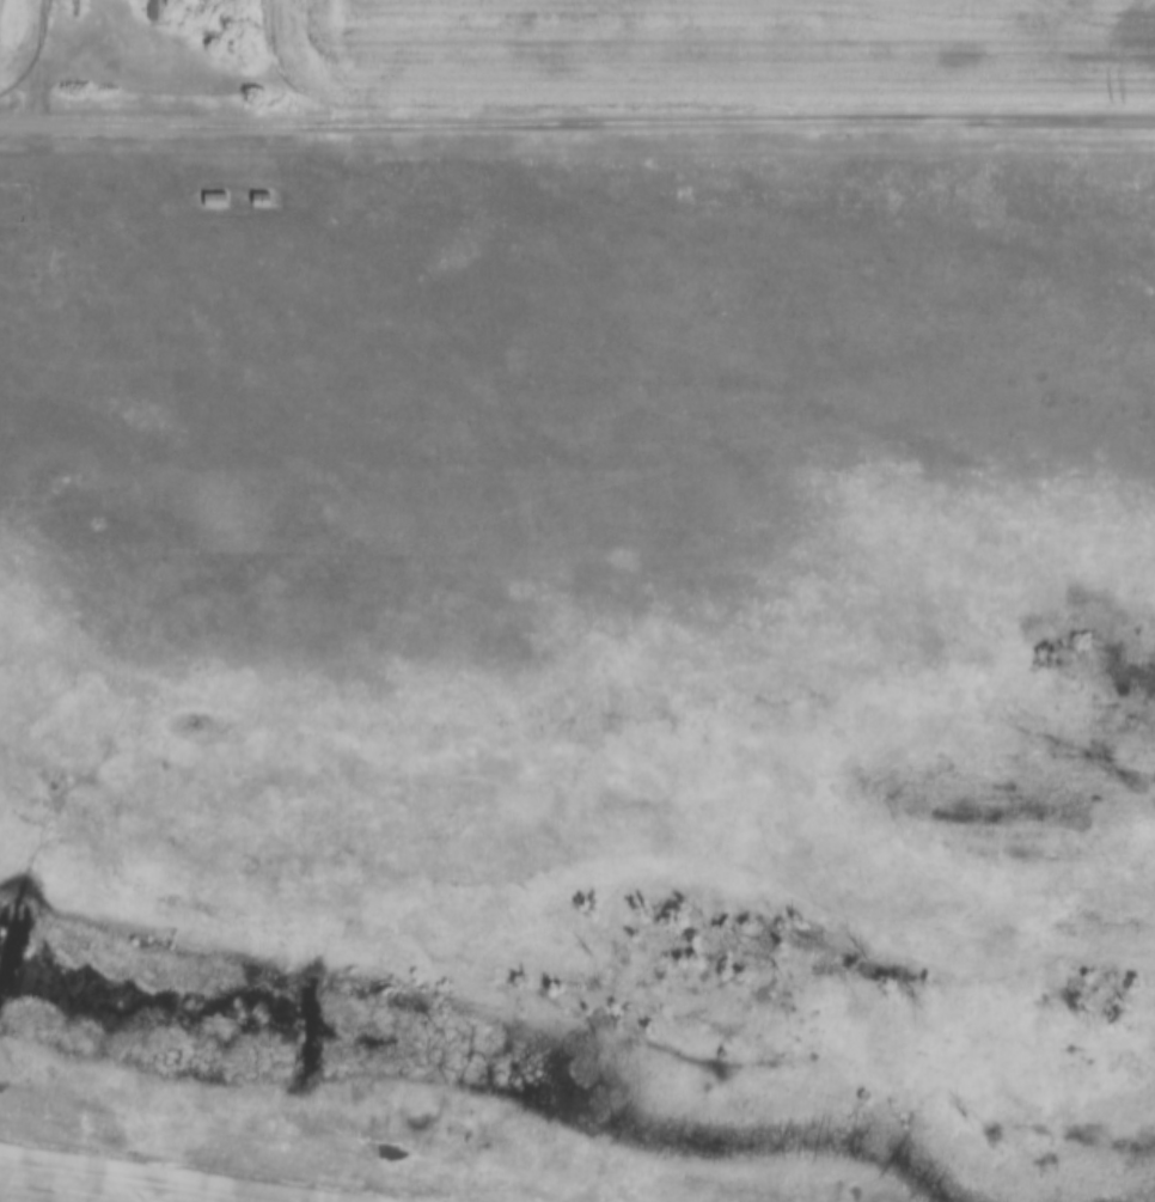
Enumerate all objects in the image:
road: (54, 49)
road: (576, 116)
building: (212, 201)
building: (258, 201)

